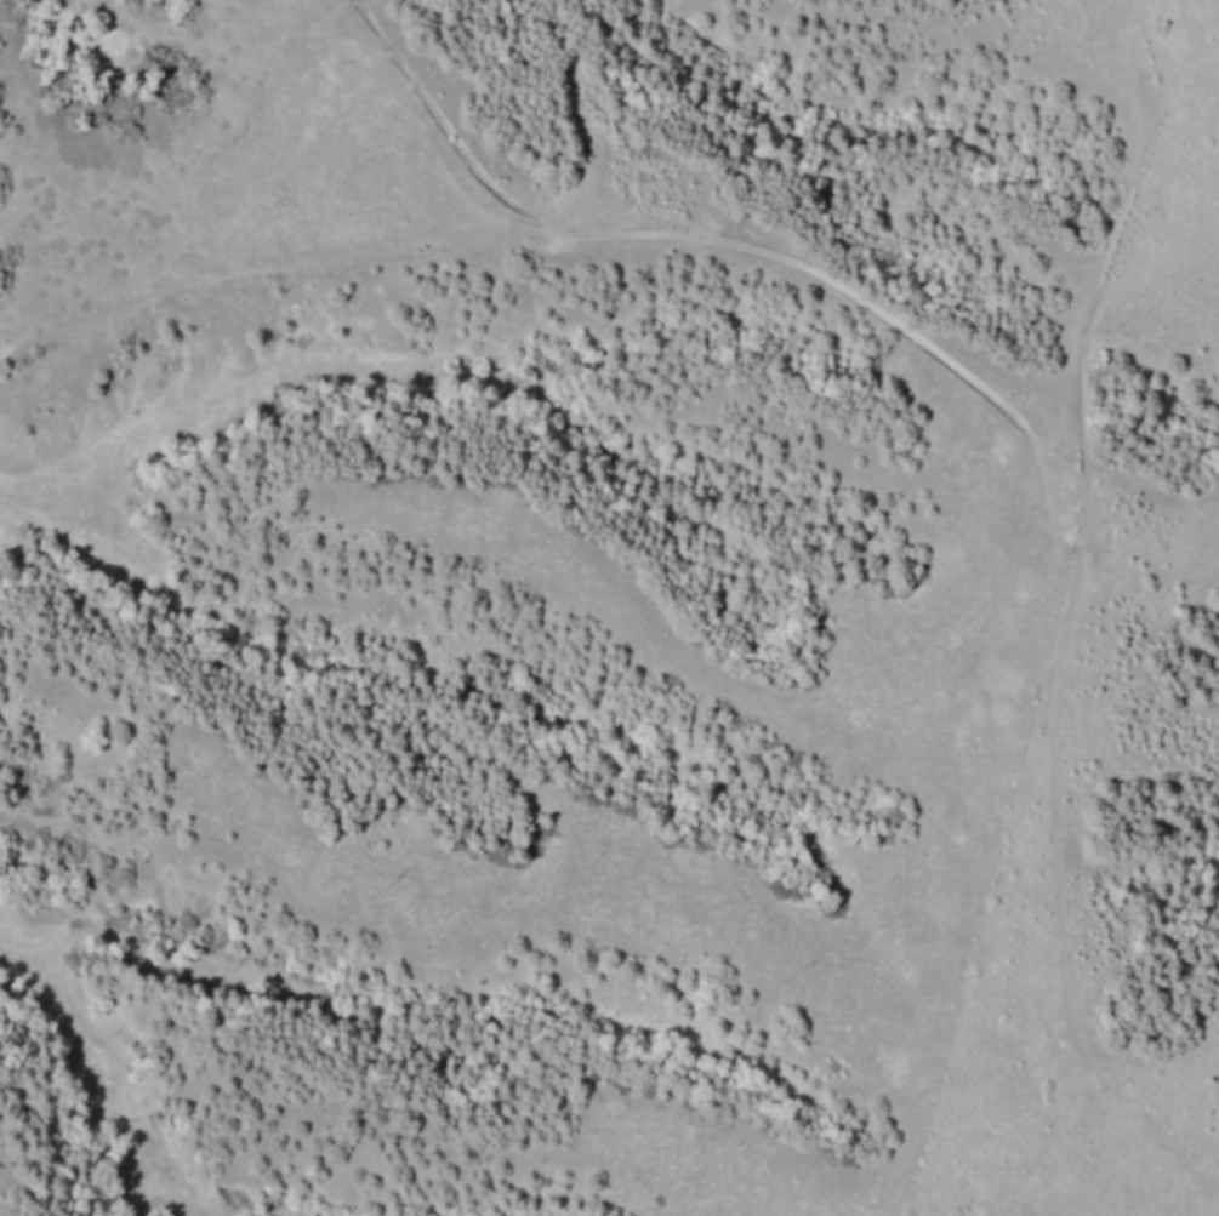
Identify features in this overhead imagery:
road: (1066, 621)

